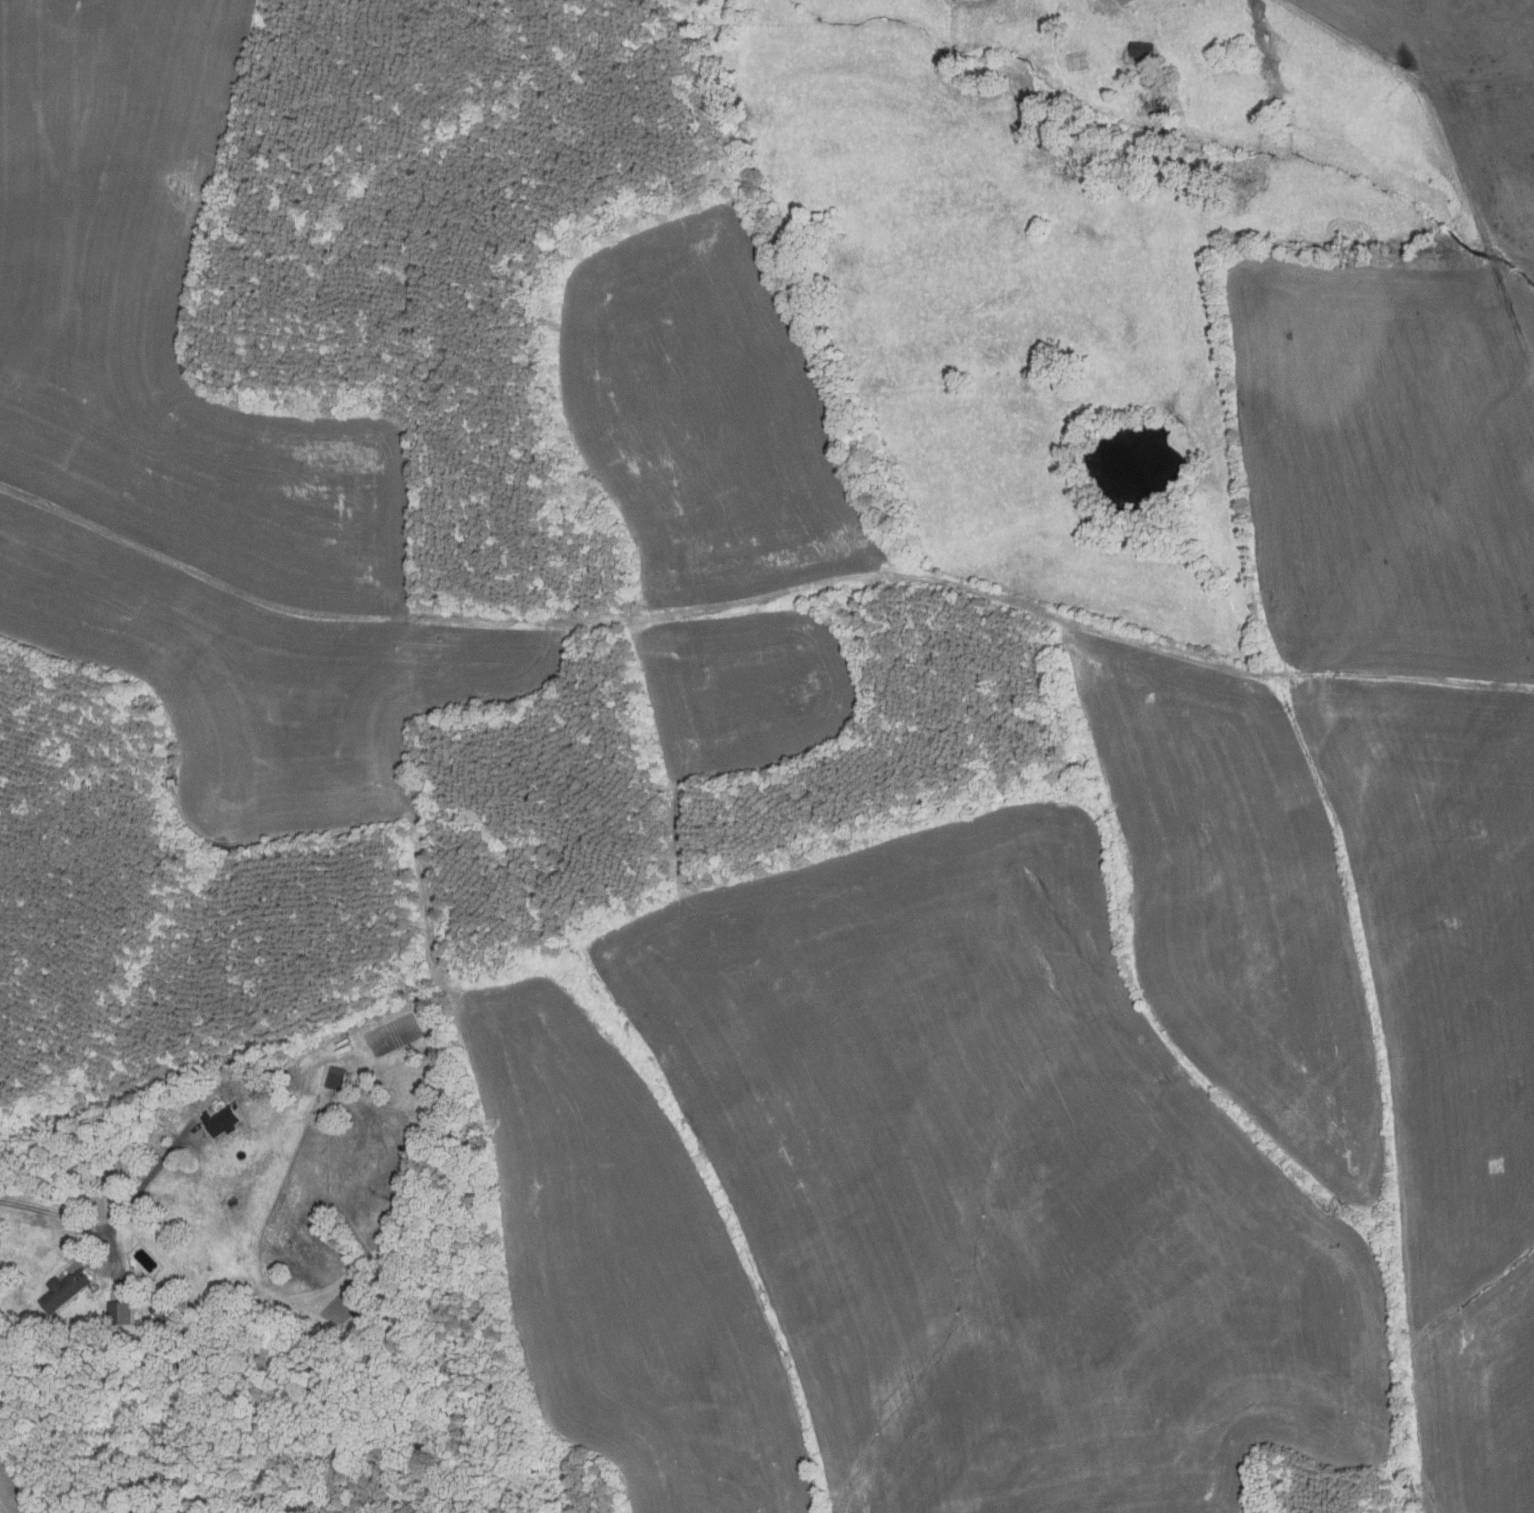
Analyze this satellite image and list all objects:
building: (1125, 2)
building: (1141, 50)
building: (1077, 60)
road: (1454, 158)
crop: (160, 320)
crop: (704, 412)
road: (760, 595)
crop: (261, 681)
crop: (743, 689)
crop: (1372, 756)
building: (256, 1073)
building: (336, 1079)
building: (222, 1121)
road: (150, 1177)
crop: (997, 1184)
road: (66, 1223)
crop: (625, 1267)
building: (62, 1293)
building: (162, 1305)
building: (120, 1313)
crop: (10, 1492)

